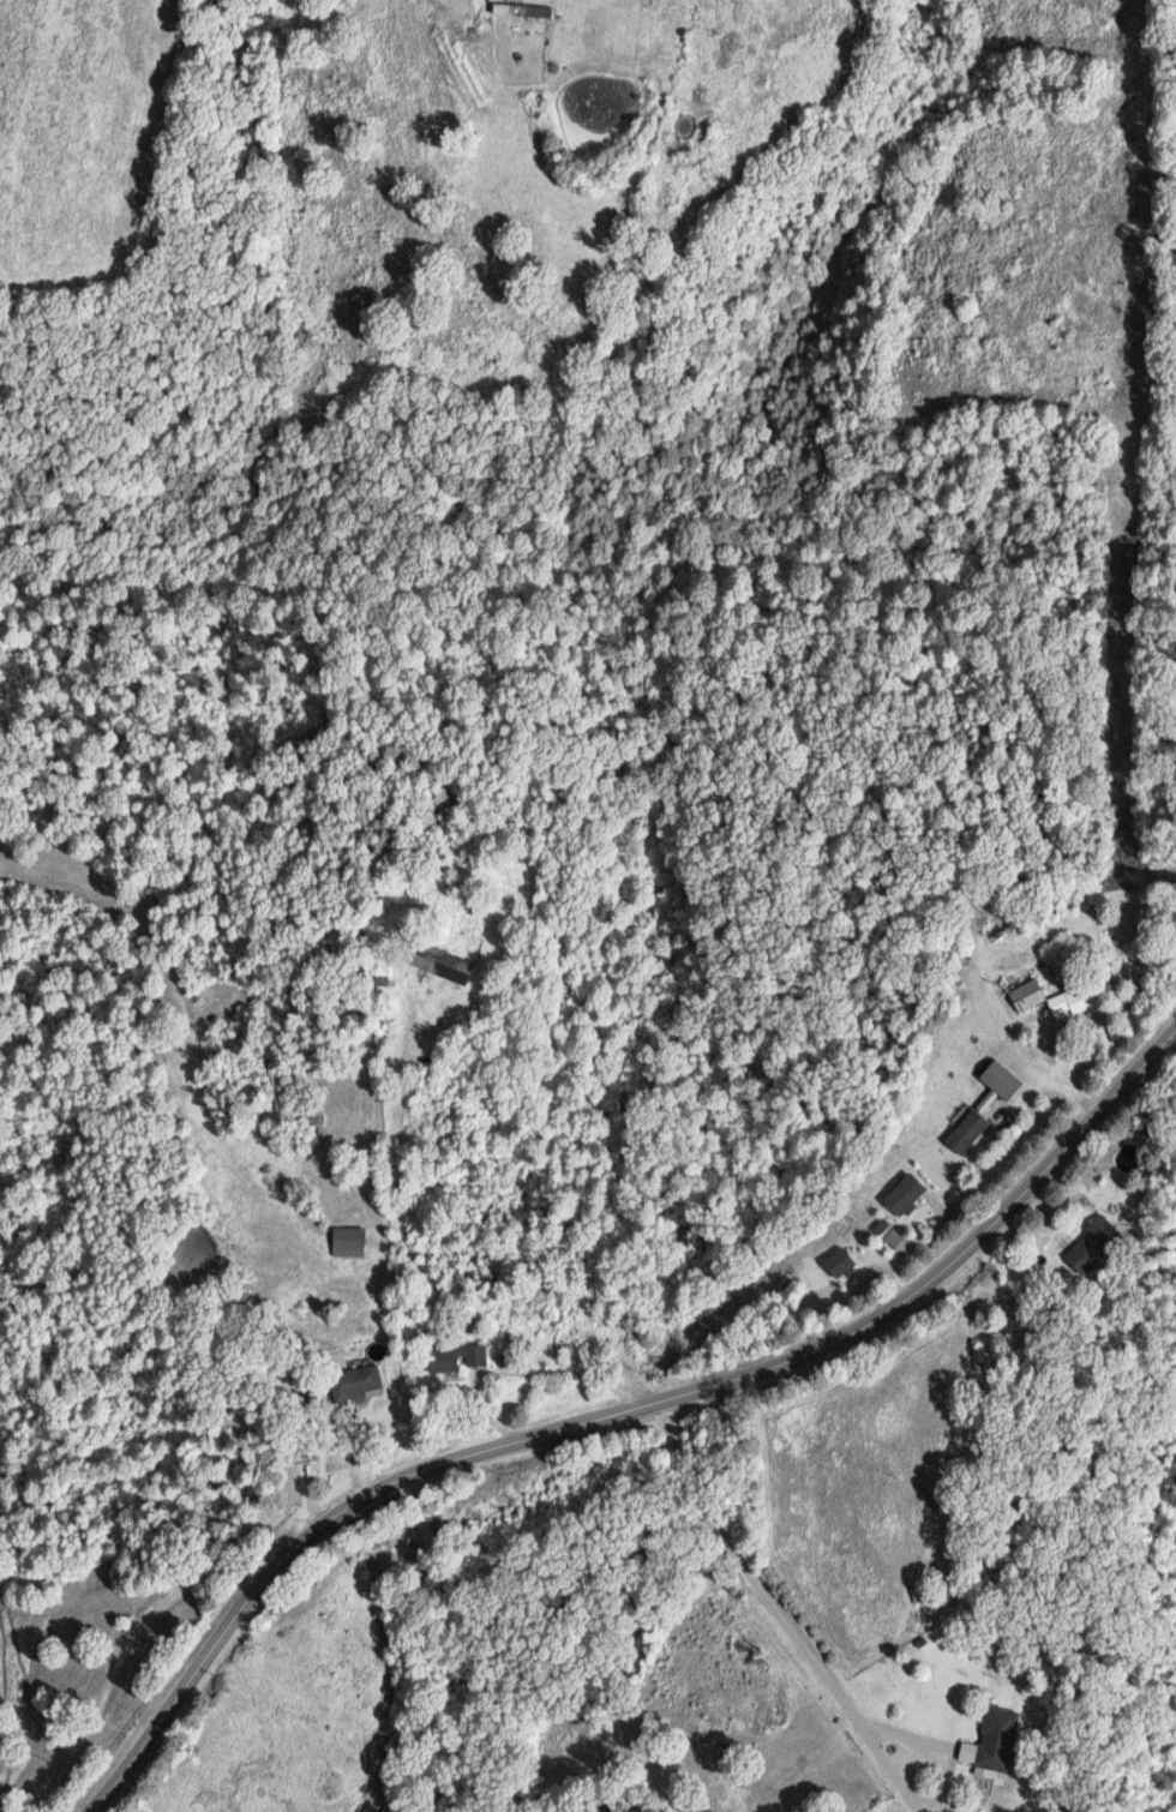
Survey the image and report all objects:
building: (445, 962)
building: (1028, 995)
building: (1086, 995)
road: (424, 1018)
road: (1058, 1062)
building: (1004, 1079)
building: (970, 1132)
building: (908, 1194)
road: (396, 1224)
building: (889, 1232)
building: (350, 1242)
building: (1094, 1244)
building: (842, 1261)
building: (457, 1357)
road: (527, 1367)
building: (360, 1384)
road: (612, 1408)
road: (774, 1610)
building: (996, 1742)
road: (991, 1790)

